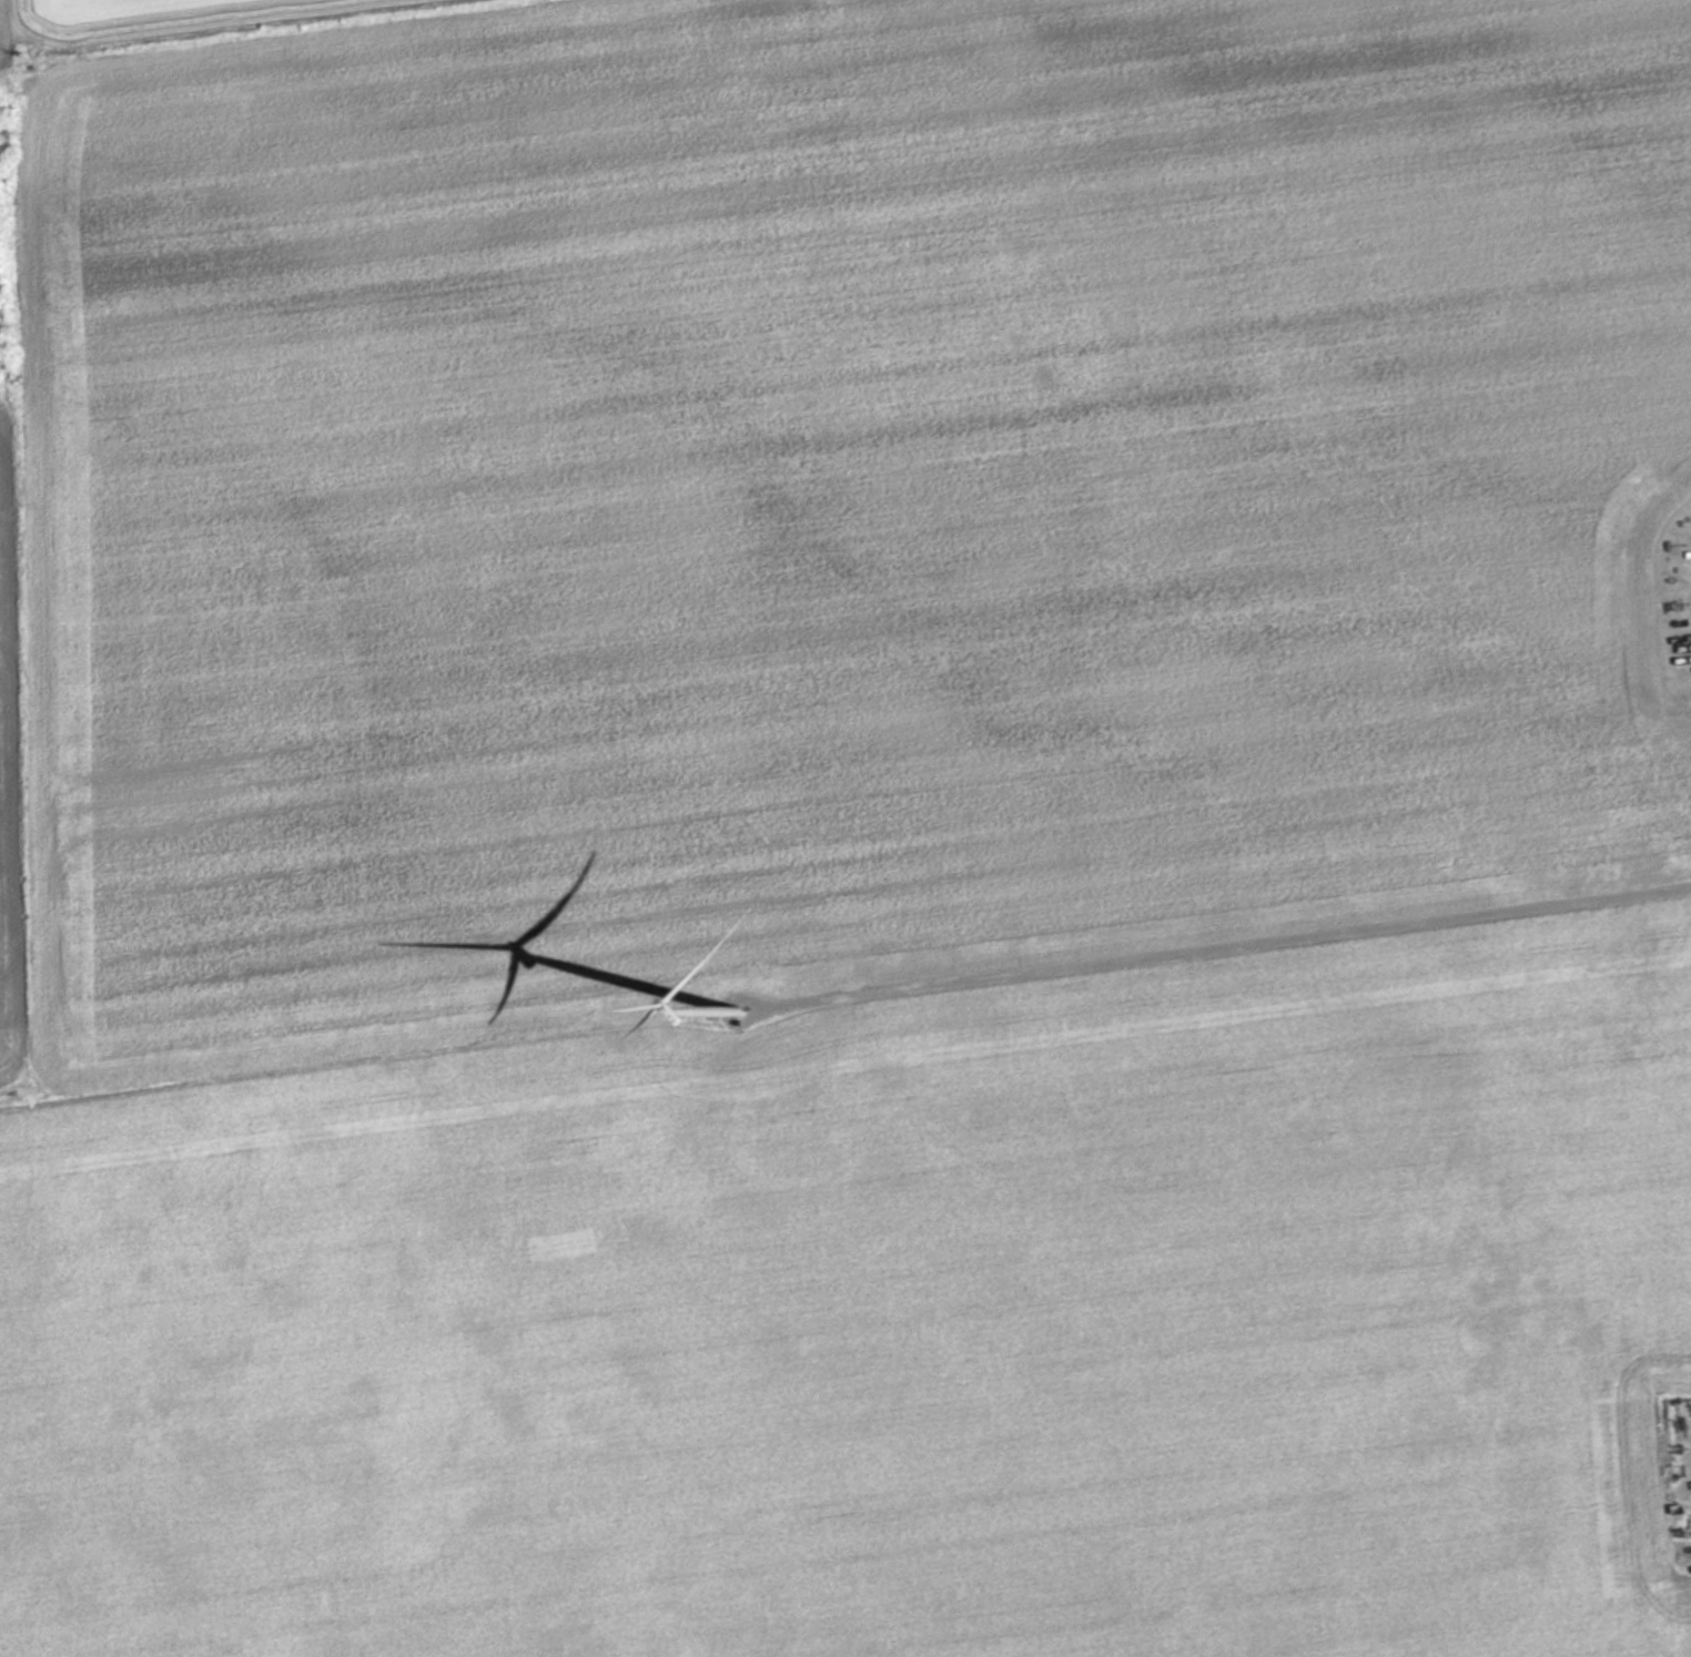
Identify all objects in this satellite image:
wind turbine: (741, 1003)

